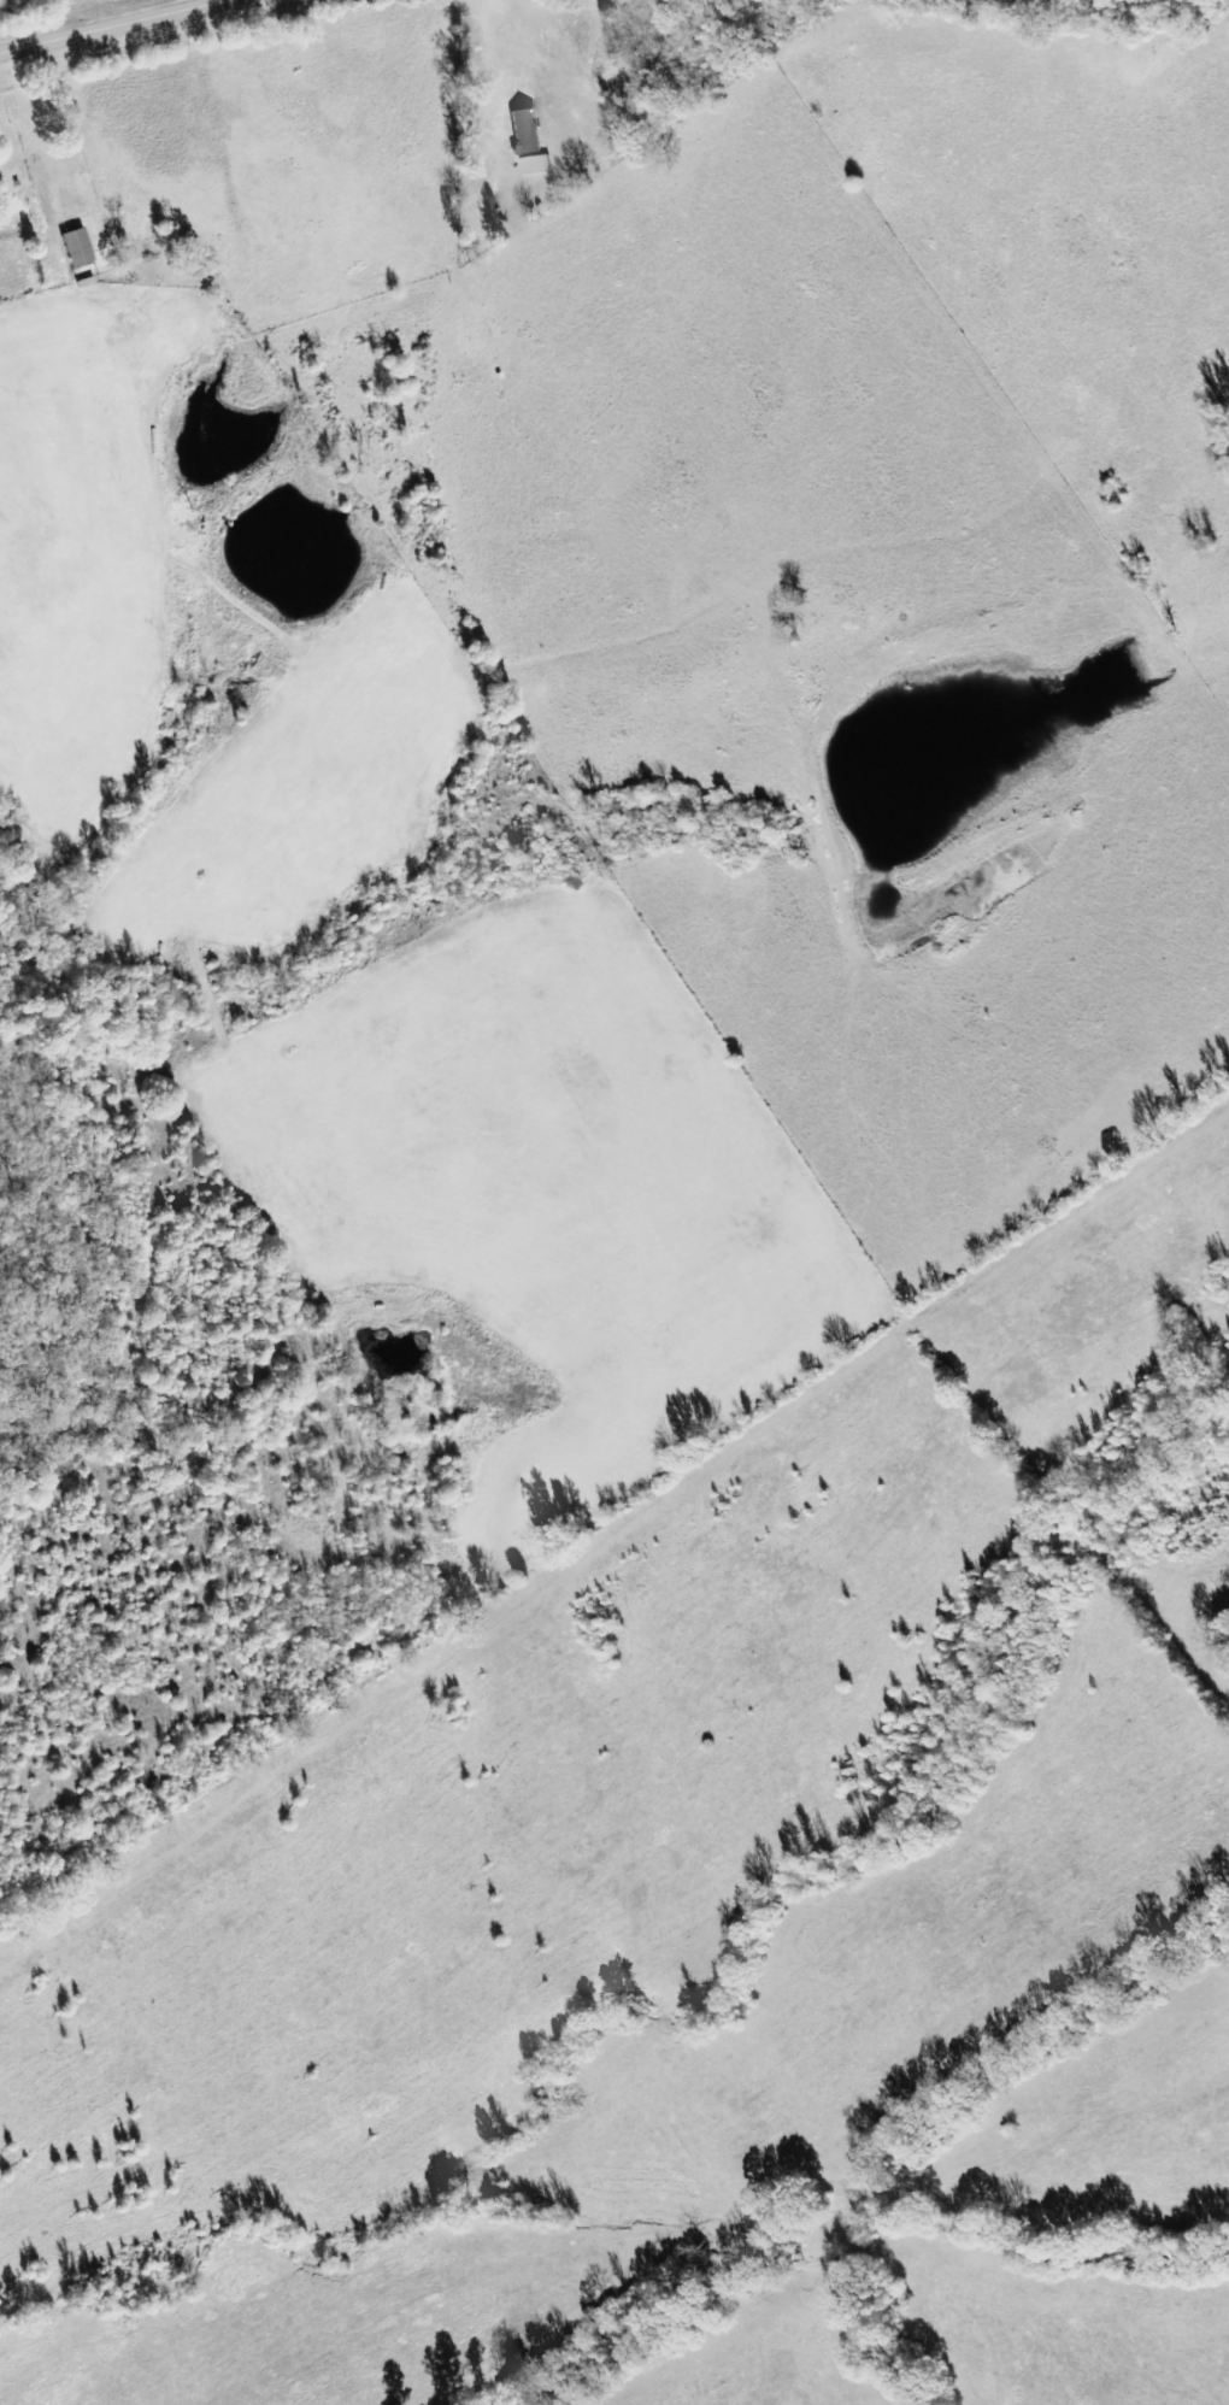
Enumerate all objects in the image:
road: (111, 25)
building: (525, 131)
building: (536, 164)
building: (76, 248)

